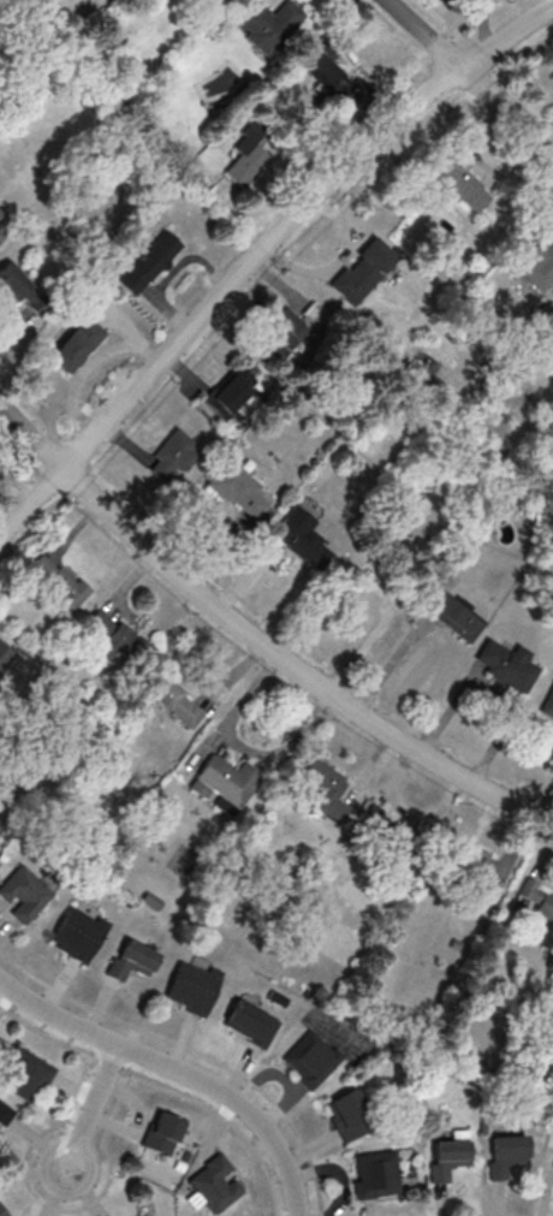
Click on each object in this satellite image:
building: (267, 24)
building: (335, 77)
road: (468, 77)
building: (337, 103)
building: (251, 158)
building: (458, 178)
building: (1, 215)
building: (0, 237)
road: (261, 254)
building: (149, 262)
building: (537, 263)
building: (363, 271)
building: (13, 280)
building: (289, 336)
building: (76, 344)
building: (230, 392)
building: (172, 457)
building: (233, 487)
building: (305, 545)
road: (374, 575)
building: (59, 580)
building: (451, 616)
building: (113, 637)
road: (257, 637)
building: (5, 658)
building: (505, 665)
building: (173, 700)
building: (547, 702)
building: (225, 783)
building: (326, 788)
building: (388, 830)
building: (0, 854)
building: (471, 873)
building: (25, 891)
building: (536, 900)
building: (77, 933)
building: (131, 960)
building: (191, 989)
building: (250, 1022)
building: (310, 1058)
road: (177, 1069)
building: (25, 1074)
building: (4, 1113)
building: (347, 1116)
road: (87, 1120)
building: (161, 1133)
building: (504, 1156)
building: (446, 1159)
building: (375, 1174)
building: (215, 1184)
building: (1, 1212)
building: (144, 1215)

